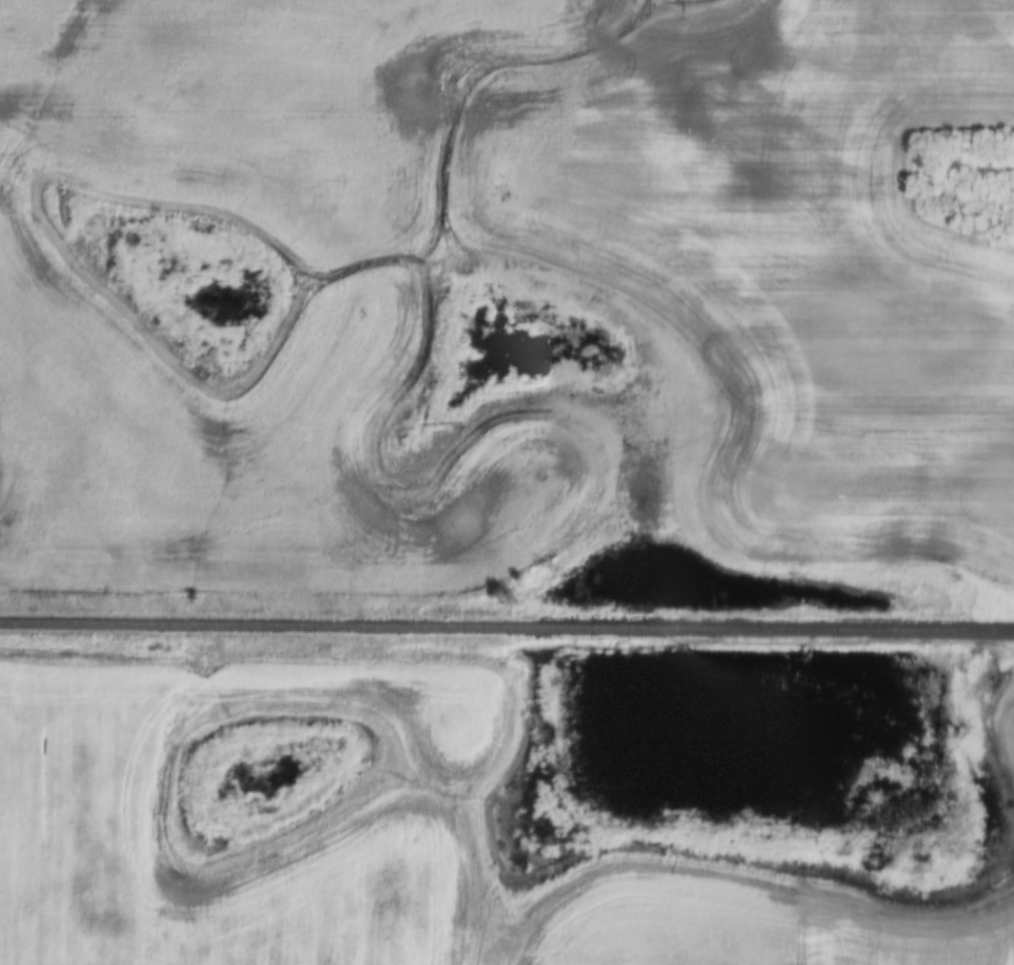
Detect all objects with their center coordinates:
railway: (507, 627)

